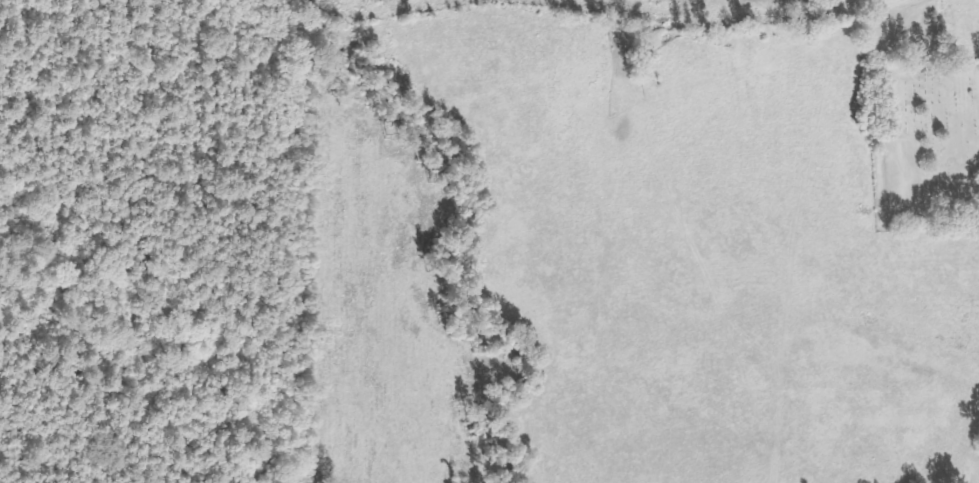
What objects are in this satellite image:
park: (927, 138)

